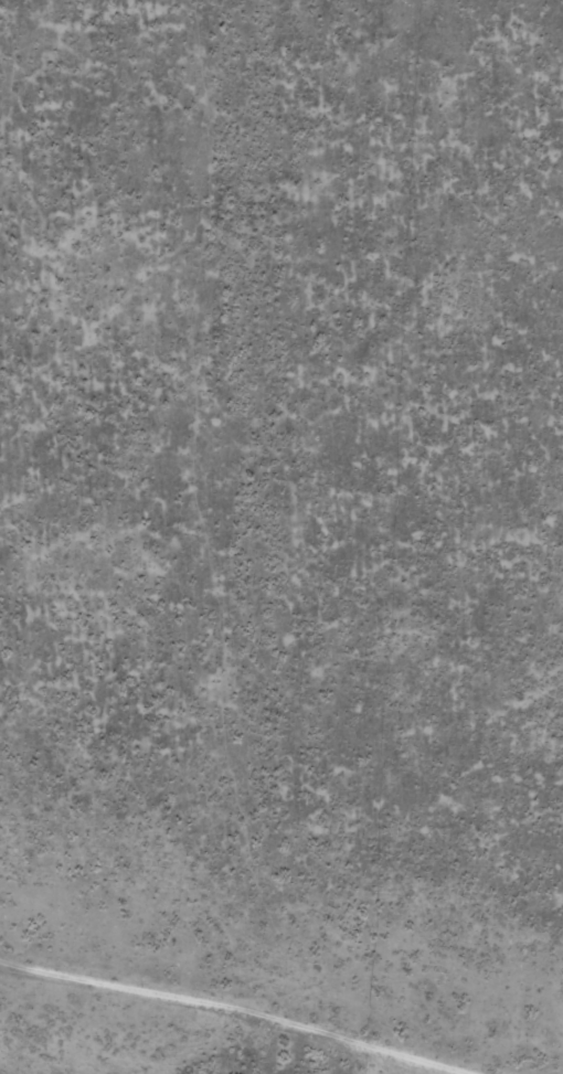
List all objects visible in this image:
road: (155, 1022)

